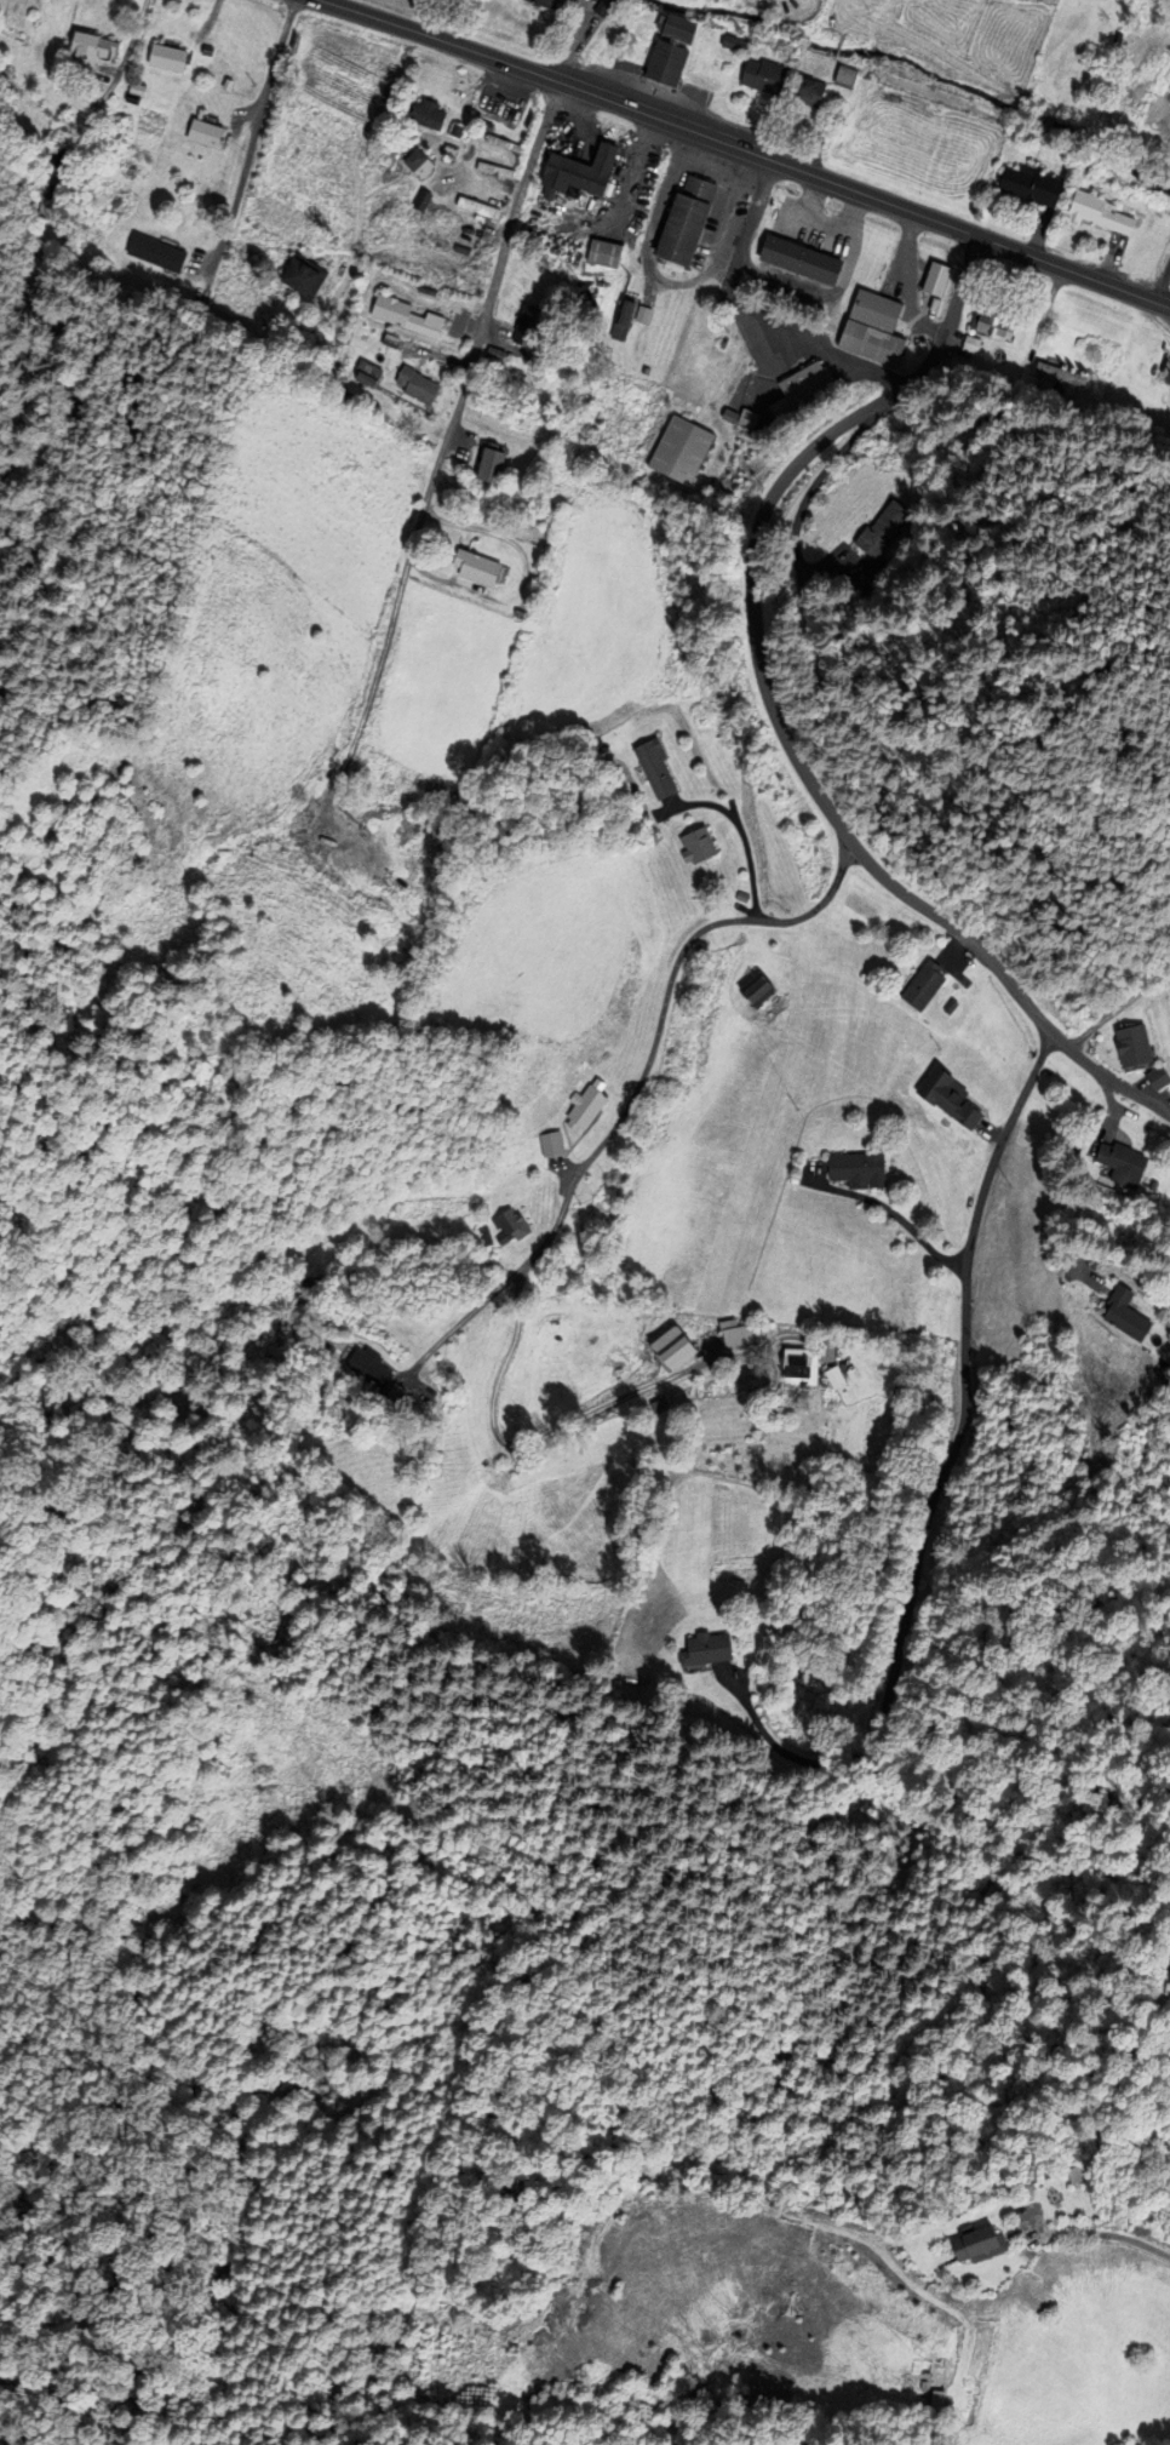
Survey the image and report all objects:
building: (906, 0)
building: (546, 2)
building: (603, 6)
building: (678, 28)
road: (574, 39)
building: (735, 42)
building: (87, 50)
building: (166, 57)
building: (667, 63)
building: (764, 75)
building: (845, 75)
building: (137, 88)
building: (808, 91)
building: (428, 114)
building: (483, 125)
building: (455, 128)
building: (203, 132)
road: (252, 134)
building: (503, 143)
road: (747, 150)
building: (415, 158)
building: (494, 168)
building: (579, 170)
building: (52, 182)
building: (1031, 184)
building: (421, 199)
building: (478, 206)
building: (1100, 212)
building: (687, 219)
building: (156, 252)
building: (606, 252)
building: (801, 258)
building: (300, 275)
building: (936, 277)
road: (666, 281)
building: (874, 309)
building: (403, 315)
road: (486, 315)
building: (623, 319)
building: (527, 323)
building: (993, 323)
building: (390, 339)
building: (872, 342)
building: (495, 353)
building: (1061, 373)
building: (366, 376)
building: (417, 384)
building: (805, 384)
building: (681, 448)
building: (491, 464)
road: (803, 498)
building: (884, 528)
building: (477, 566)
building: (865, 579)
road: (375, 674)
road: (775, 714)
building: (654, 769)
road: (739, 826)
building: (695, 846)
building: (920, 986)
building: (758, 998)
road: (661, 1018)
building: (1130, 1047)
building: (1154, 1078)
building: (578, 1110)
building: (545, 1145)
building: (1118, 1164)
building: (853, 1168)
building: (505, 1227)
road: (897, 1233)
building: (302, 1286)
building: (1118, 1316)
road: (460, 1321)
building: (738, 1335)
building: (671, 1350)
building: (797, 1364)
building: (366, 1373)
building: (832, 1379)
road: (964, 1382)
road: (581, 1419)
building: (707, 1649)
road: (781, 1751)
road: (1113, 2235)
building: (969, 2246)

